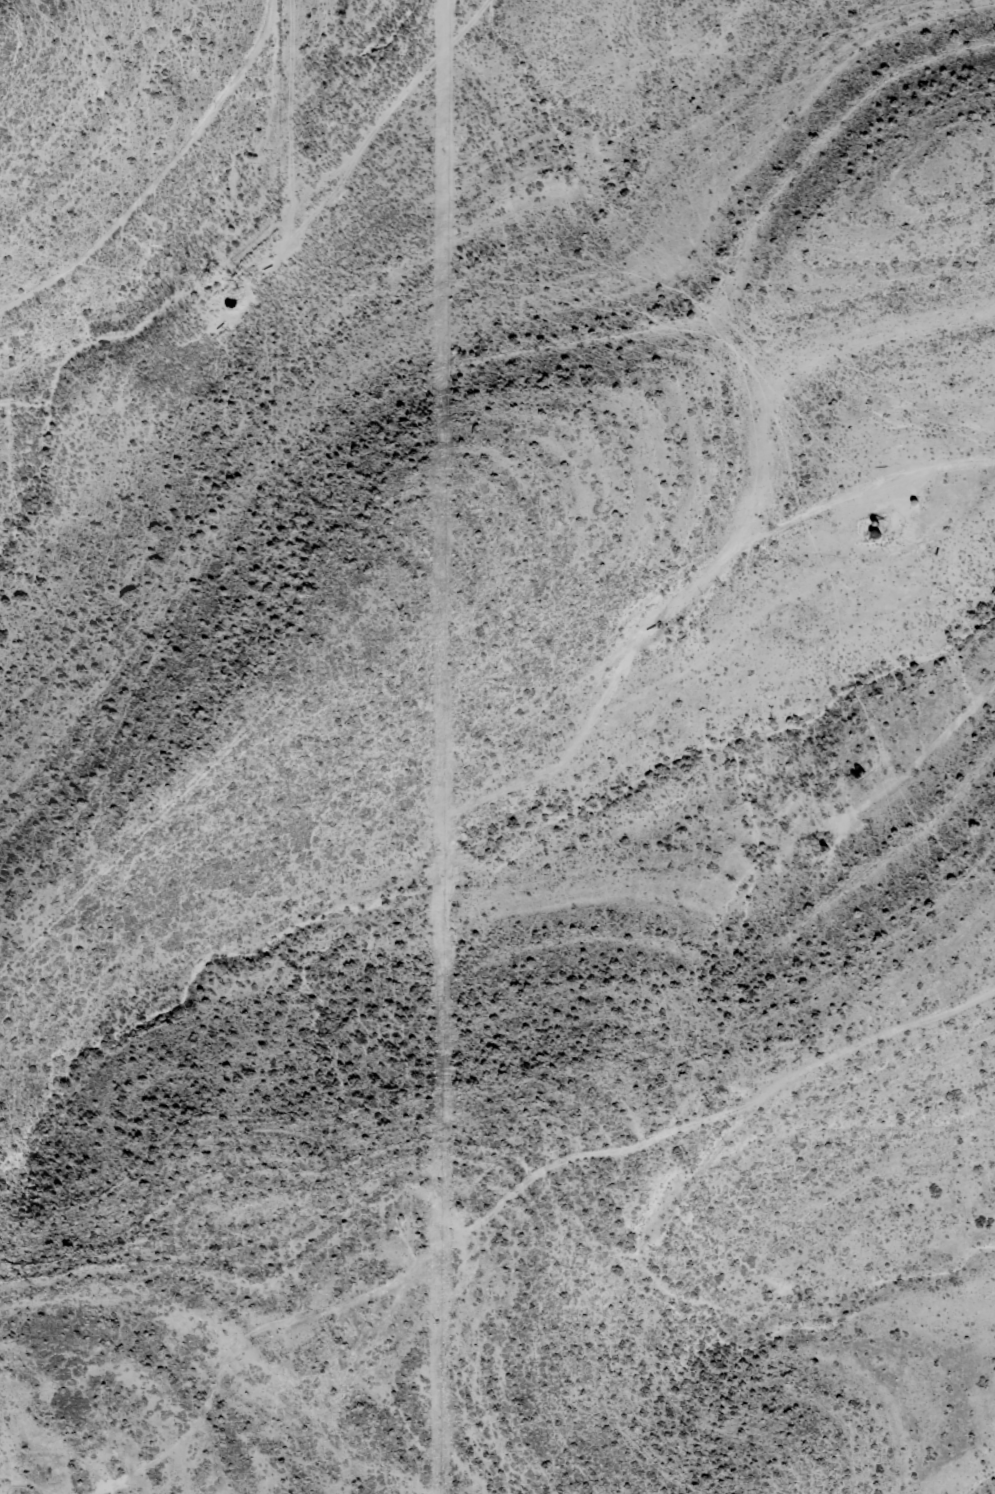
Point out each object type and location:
road: (166, 174)
road: (825, 528)
road: (947, 734)
road: (516, 1181)

